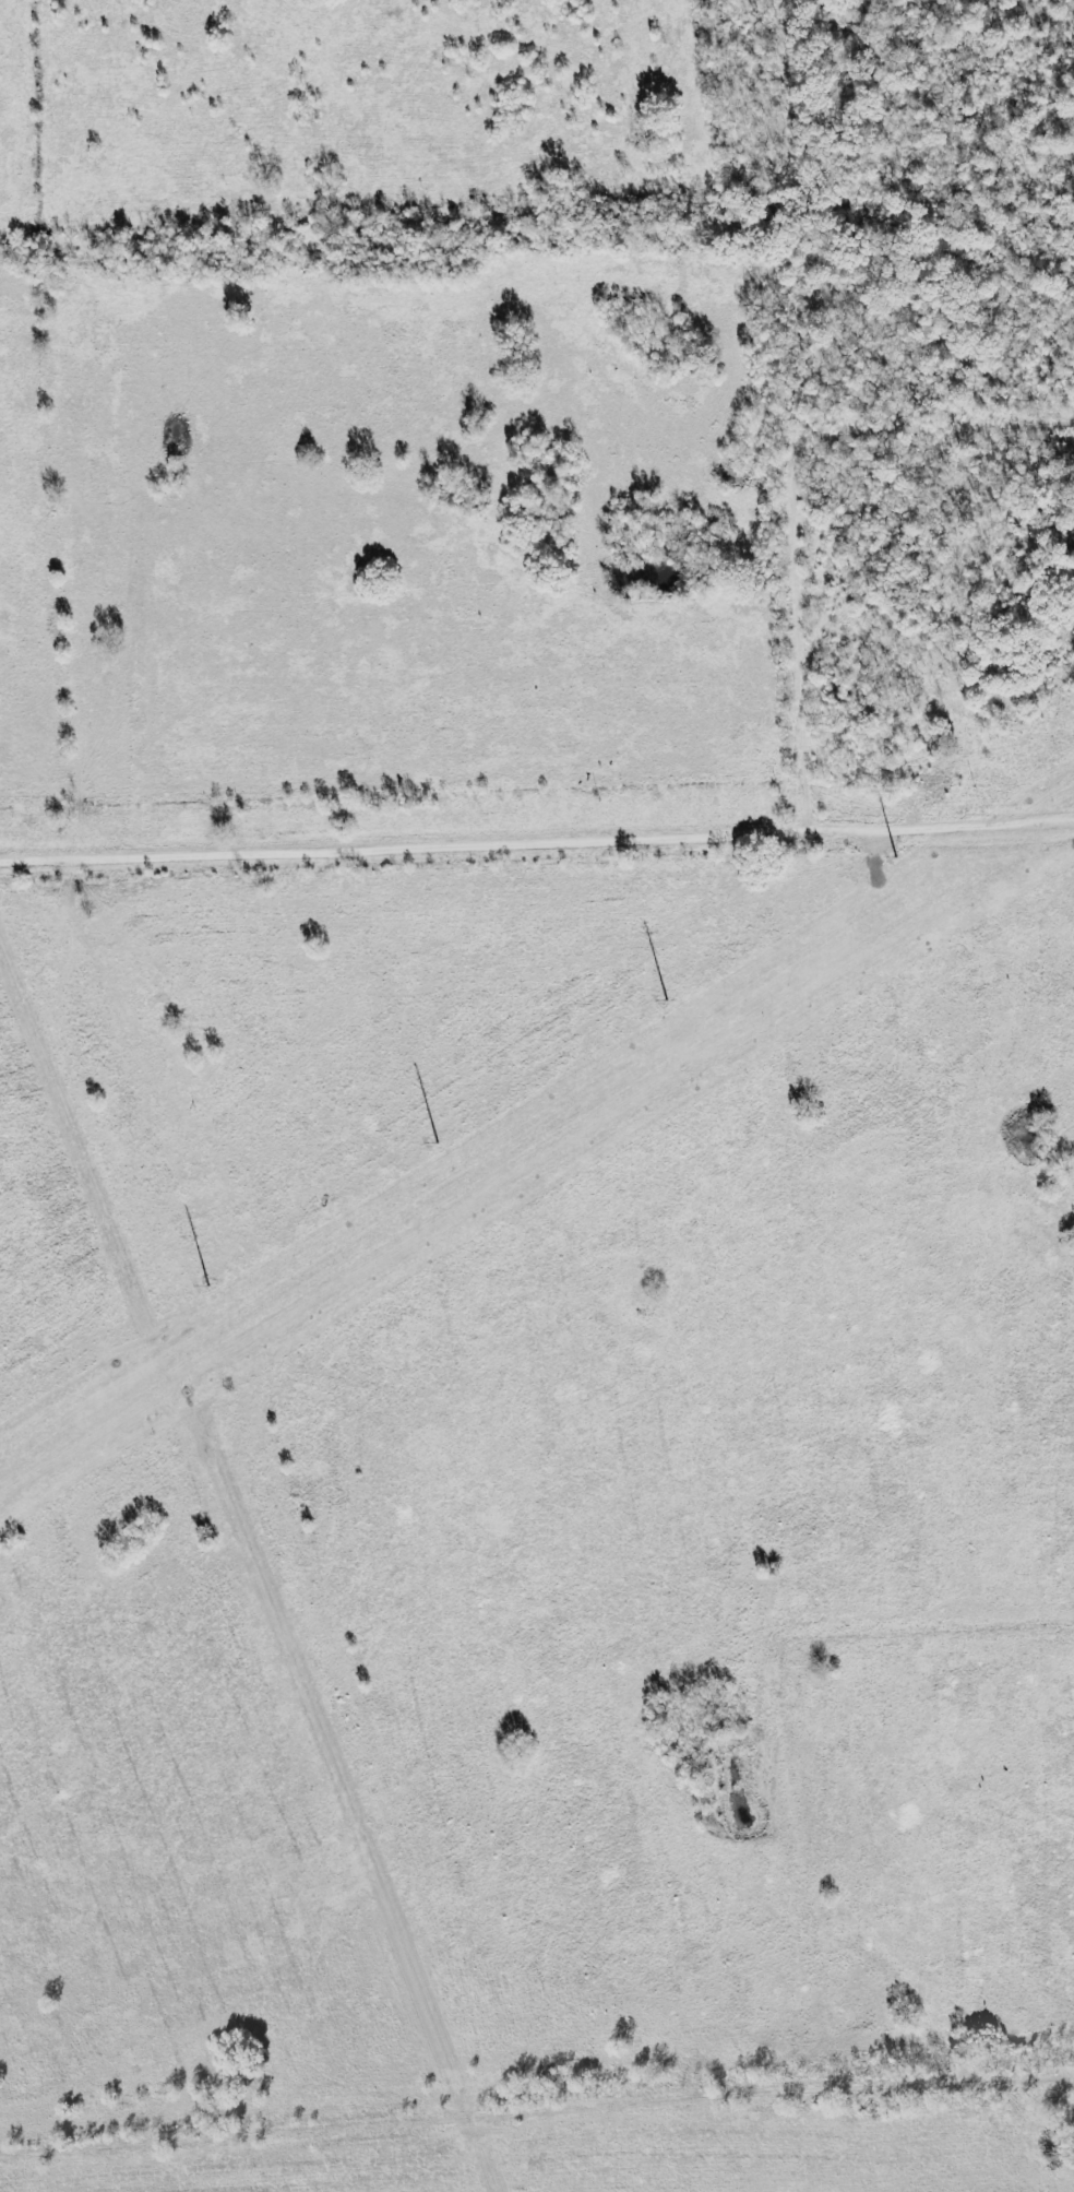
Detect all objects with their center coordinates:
road: (790, 496)
road: (537, 842)
road: (536, 2098)

